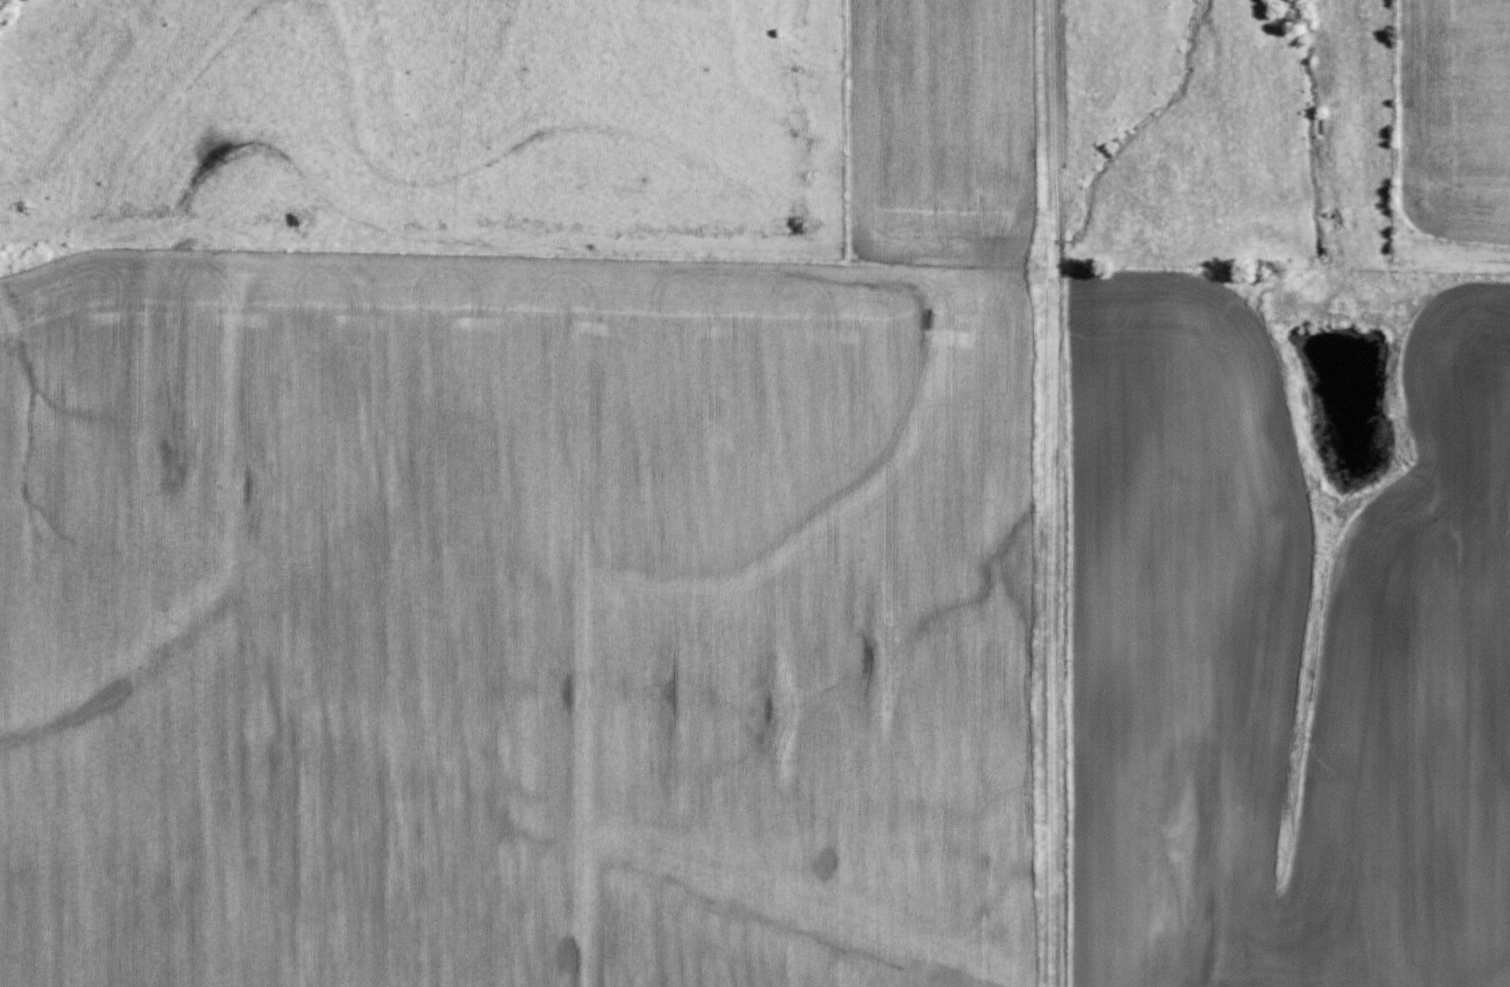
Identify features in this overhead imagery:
road: (1054, 493)

